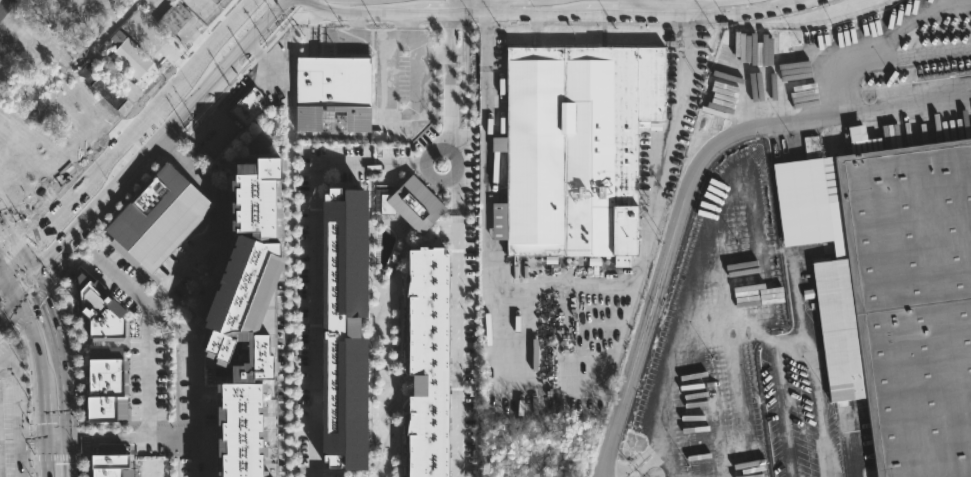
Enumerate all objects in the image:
building: (214, 1)
building: (218, 1)
road: (3, 4)
road: (459, 6)
road: (744, 11)
road: (570, 13)
road: (372, 14)
building: (176, 18)
road: (693, 25)
road: (263, 30)
road: (222, 36)
building: (132, 55)
road: (877, 56)
road: (404, 58)
road: (843, 77)
building: (103, 82)
road: (452, 87)
road: (240, 88)
building: (342, 98)
road: (162, 99)
building: (250, 106)
road: (147, 136)
building: (574, 147)
road: (113, 153)
road: (135, 169)
road: (690, 183)
road: (456, 186)
building: (417, 204)
road: (56, 216)
building: (155, 216)
road: (11, 234)
traffic signals: (22, 253)
road: (186, 254)
road: (312, 255)
road: (14, 263)
road: (30, 266)
road: (3, 267)
traffic signals: (6, 273)
road: (3, 276)
traffic signals: (39, 280)
road: (539, 286)
road: (29, 288)
road: (205, 294)
building: (893, 294)
traffic signals: (20, 297)
road: (10, 306)
road: (53, 310)
building: (100, 311)
road: (684, 318)
building: (251, 325)
building: (342, 327)
road: (456, 345)
building: (426, 361)
road: (44, 370)
road: (148, 371)
building: (105, 384)
road: (69, 389)
road: (16, 410)
road: (172, 436)
road: (60, 437)
road: (652, 447)
road: (73, 457)
building: (109, 463)

